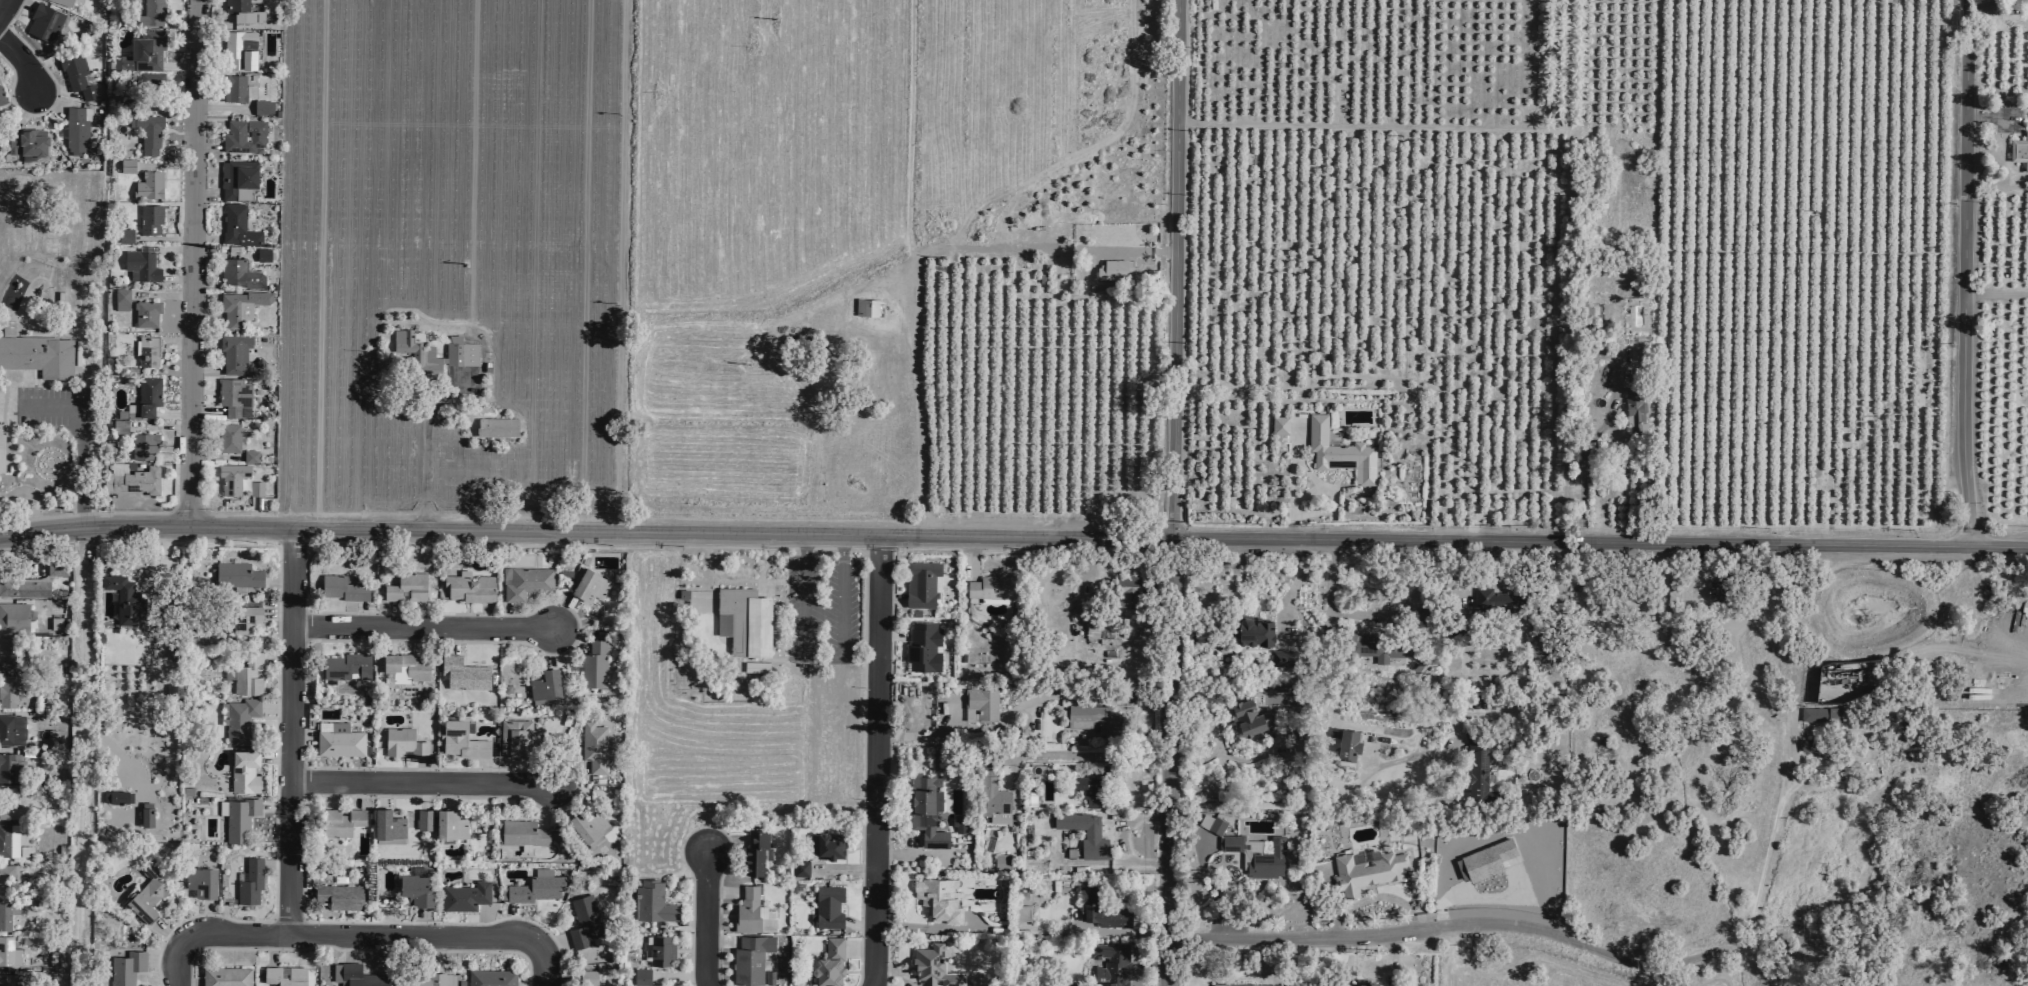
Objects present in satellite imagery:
building: (123, 0)
building: (62, 2)
road: (2, 3)
building: (234, 11)
building: (152, 12)
building: (259, 20)
building: (42, 21)
building: (238, 49)
building: (141, 51)
road: (19, 63)
road: (176, 66)
building: (76, 73)
building: (150, 85)
building: (233, 87)
building: (251, 91)
road: (54, 92)
building: (3, 99)
building: (126, 104)
road: (165, 106)
building: (261, 106)
road: (221, 107)
road: (1990, 116)
building: (75, 127)
building: (147, 132)
building: (242, 135)
building: (28, 144)
road: (205, 145)
building: (2020, 146)
road: (173, 151)
building: (126, 165)
road: (162, 165)
building: (237, 178)
building: (147, 185)
road: (205, 194)
building: (148, 218)
building: (236, 225)
building: (124, 235)
road: (160, 237)
road: (356, 239)
building: (262, 254)
road: (1121, 254)
road: (926, 255)
road: (189, 263)
building: (140, 265)
building: (1113, 269)
road: (1176, 269)
building: (239, 273)
road: (1966, 274)
road: (175, 275)
road: (1997, 294)
road: (159, 295)
building: (120, 299)
building: (240, 305)
building: (870, 307)
building: (145, 313)
road: (206, 320)
road: (173, 343)
building: (411, 344)
building: (147, 350)
building: (233, 351)
building: (458, 352)
building: (41, 354)
building: (1637, 354)
road: (204, 368)
road: (31, 377)
road: (2, 395)
building: (147, 395)
building: (232, 395)
building: (1634, 408)
parking lot: (52, 409)
road: (204, 410)
road: (6, 412)
road: (169, 413)
building: (1279, 423)
building: (118, 426)
building: (496, 427)
building: (228, 437)
road: (78, 439)
road: (424, 442)
building: (142, 444)
building: (1, 447)
building: (1339, 450)
road: (212, 456)
building: (248, 456)
road: (1581, 459)
building: (230, 477)
building: (133, 478)
road: (1291, 486)
building: (254, 488)
road: (27, 492)
road: (1331, 493)
road: (1306, 494)
road: (108, 511)
road: (254, 511)
road: (227, 512)
road: (586, 532)
road: (49, 542)
road: (1600, 544)
street lamp: (857, 553)
road: (163, 557)
road: (972, 557)
building: (56, 565)
building: (236, 575)
road: (277, 579)
road: (731, 579)
building: (523, 581)
building: (920, 583)
building: (588, 585)
building: (24, 586)
building: (341, 587)
building: (405, 587)
building: (469, 587)
building: (993, 587)
building: (1126, 589)
building: (1717, 591)
road: (1291, 592)
road: (1078, 596)
building: (123, 598)
road: (891, 599)
building: (1689, 599)
building: (1500, 600)
building: (1549, 604)
parking lot: (820, 608)
road: (276, 611)
road: (359, 613)
road: (562, 613)
road: (390, 614)
road: (484, 615)
road: (511, 615)
building: (14, 616)
building: (244, 618)
building: (742, 620)
building: (54, 622)
building: (1091, 625)
road: (419, 626)
building: (1255, 631)
road: (891, 634)
road: (567, 637)
road: (362, 638)
road: (388, 638)
road: (452, 639)
road: (547, 646)
building: (921, 647)
building: (1379, 647)
road: (275, 654)
building: (11, 655)
building: (959, 656)
building: (1284, 658)
building: (592, 664)
building: (345, 666)
building: (403, 666)
building: (461, 673)
building: (245, 675)
building: (543, 685)
street lamp: (862, 687)
building: (8, 690)
building: (1475, 703)
building: (978, 704)
road: (274, 707)
building: (1818, 713)
building: (1252, 717)
building: (1095, 719)
building: (238, 720)
road: (983, 727)
building: (11, 729)
road: (287, 729)
road: (300, 737)
building: (516, 737)
building: (337, 739)
building: (460, 740)
building: (402, 742)
building: (593, 746)
building: (1814, 746)
building: (1348, 747)
road: (1061, 754)
road: (77, 756)
road: (273, 757)
road: (877, 762)
road: (1172, 762)
building: (9, 766)
road: (414, 768)
building: (1478, 768)
building: (1103, 769)
building: (243, 770)
road: (482, 770)
road: (888, 770)
road: (514, 771)
road: (859, 777)
road: (418, 780)
building: (1280, 786)
building: (1088, 789)
road: (351, 792)
road: (380, 793)
road: (442, 793)
road: (559, 795)
building: (116, 797)
street lamp: (861, 799)
road: (543, 801)
building: (994, 802)
building: (8, 804)
road: (274, 806)
road: (1310, 806)
road: (1391, 806)
road: (273, 807)
building: (924, 809)
building: (145, 814)
building: (238, 818)
building: (423, 819)
building: (336, 821)
building: (959, 821)
building: (386, 824)
building: (448, 824)
building: (586, 825)
road: (705, 825)
building: (1212, 825)
building: (521, 832)
building: (1082, 833)
road: (726, 840)
road: (1119, 840)
building: (12, 841)
building: (596, 841)
road: (1768, 842)
building: (828, 845)
building: (752, 852)
road: (911, 854)
building: (1258, 855)
building: (1484, 860)
building: (999, 861)
road: (1103, 862)
road: (274, 864)
building: (799, 867)
road: (843, 868)
building: (1367, 872)
road: (1205, 874)
street lamp: (690, 877)
building: (7, 878)
building: (200, 881)
building: (249, 881)
building: (534, 887)
building: (414, 890)
building: (147, 891)
road: (298, 892)
road: (723, 892)
building: (338, 896)
building: (463, 896)
road: (1372, 896)
road: (1476, 896)
building: (936, 899)
building: (651, 902)
building: (827, 906)
building: (1100, 910)
building: (751, 912)
building: (6, 913)
road: (708, 916)
road: (205, 917)
road: (511, 919)
road: (421, 921)
road: (484, 921)
building: (583, 923)
road: (685, 924)
road: (1463, 925)
road: (858, 926)
road: (1221, 926)
road: (927, 927)
road: (166, 933)
road: (377, 934)
street lamp: (859, 934)
building: (33, 940)
road: (720, 941)
road: (550, 944)
road: (348, 947)
road: (271, 948)
road: (859, 948)
road: (356, 949)
building: (660, 949)
building: (8, 952)
road: (438, 952)
building: (748, 958)
road: (161, 960)
building: (828, 962)
road: (1263, 962)
road: (1388, 962)
road: (175, 964)
building: (1108, 964)
building: (932, 965)
building: (125, 968)
road: (895, 972)
road: (683, 974)
building: (225, 975)
building: (283, 975)
building: (357, 975)
building: (640, 976)
building: (490, 977)
building: (767, 977)
building: (588, 978)
building: (424, 979)
building: (5, 980)
road: (186, 983)
building: (1078, 983)
building: (1364, 983)
road: (527, 985)
building: (1245, 985)

